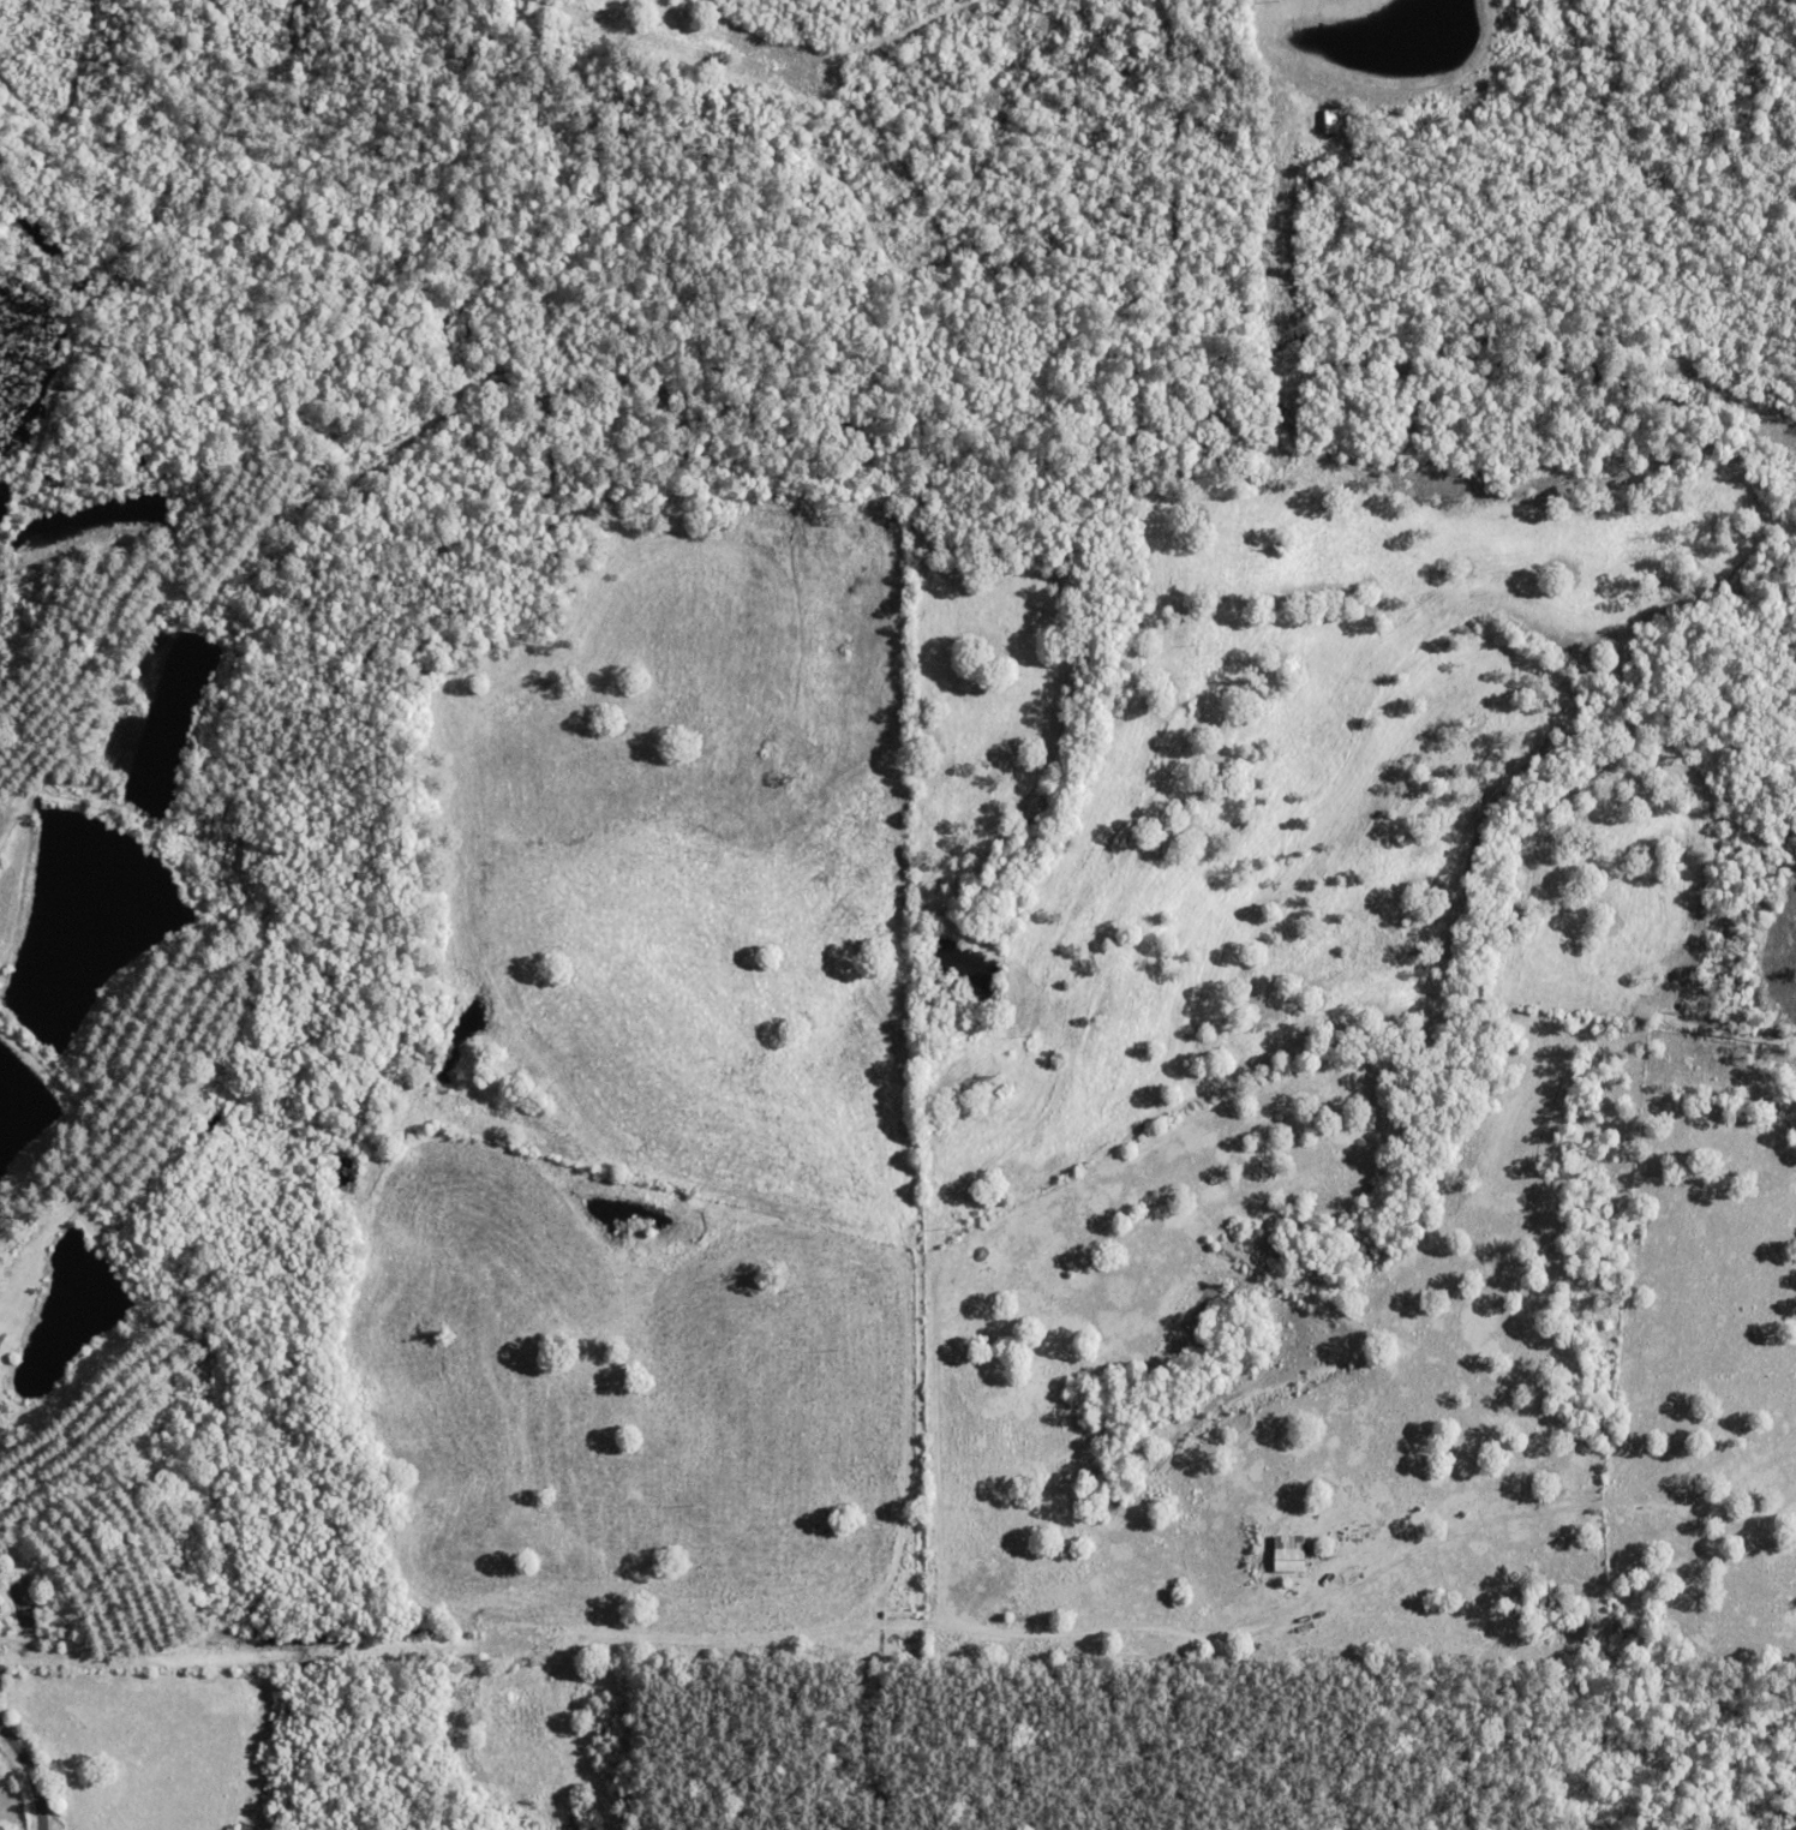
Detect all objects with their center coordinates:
building: (1287, 1553)
road: (30, 1775)

